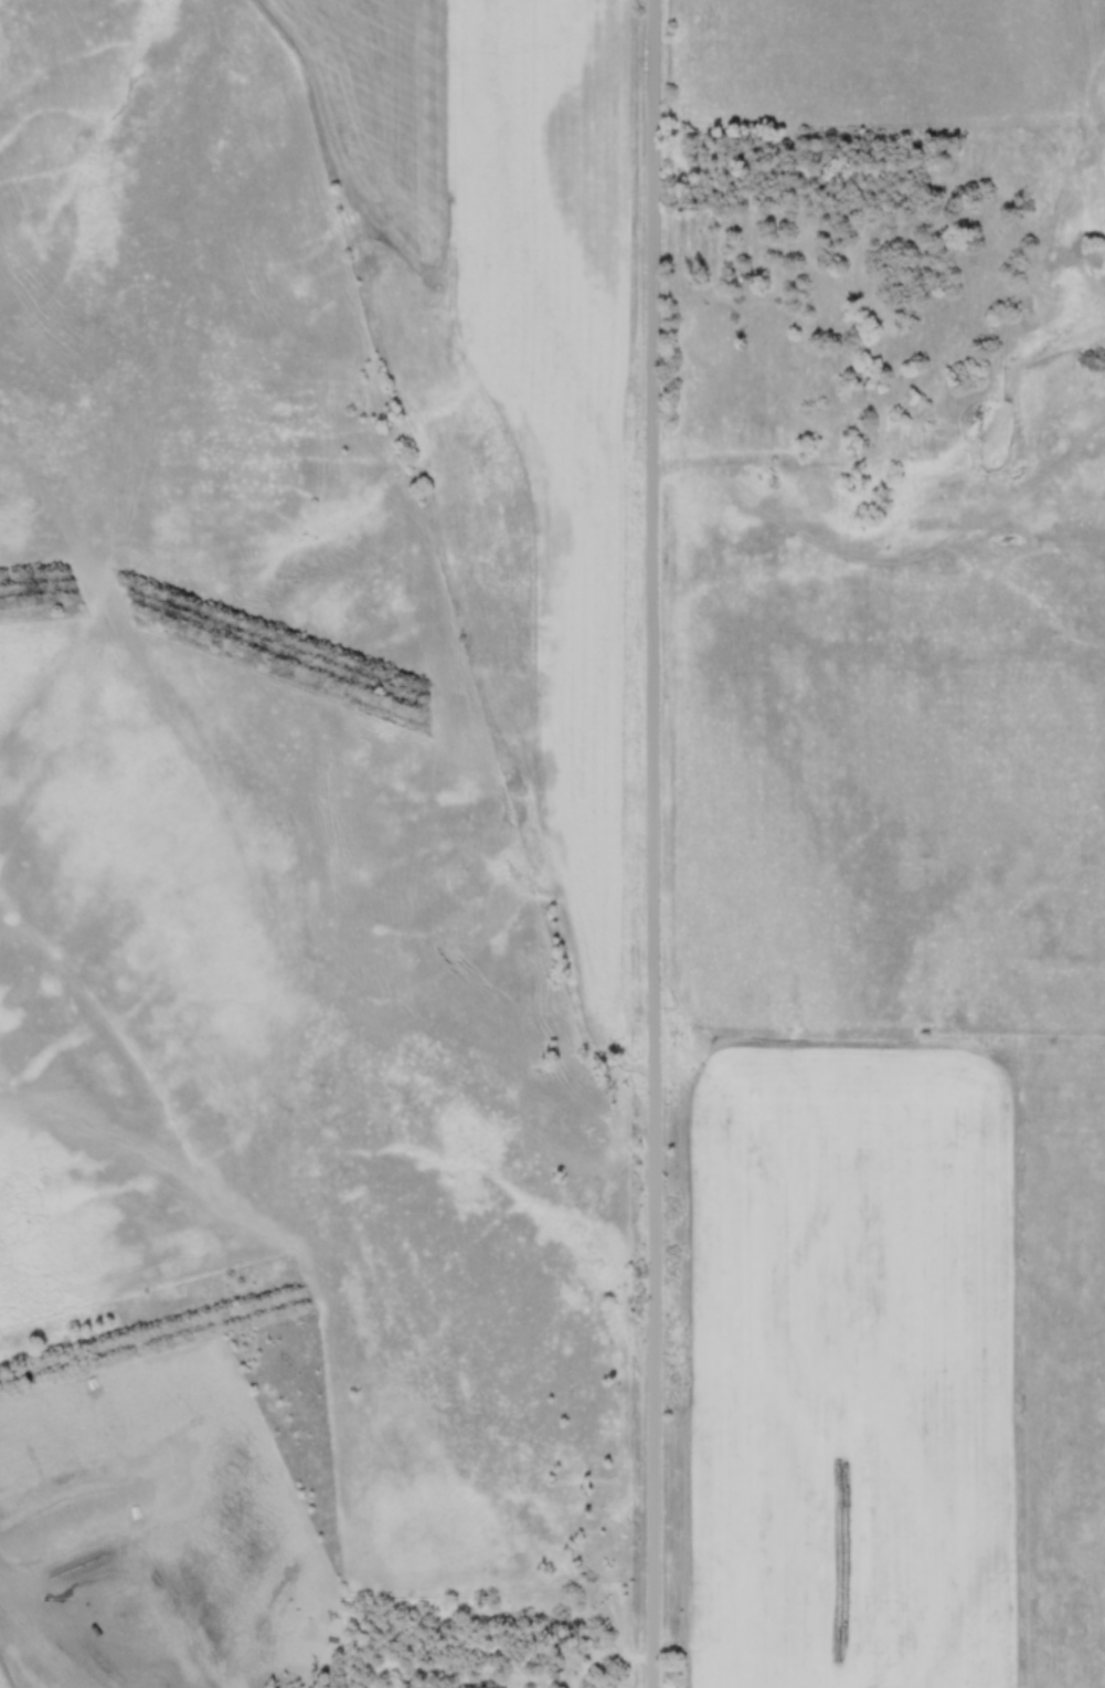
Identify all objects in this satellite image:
road: (890, 555)
road: (657, 843)

